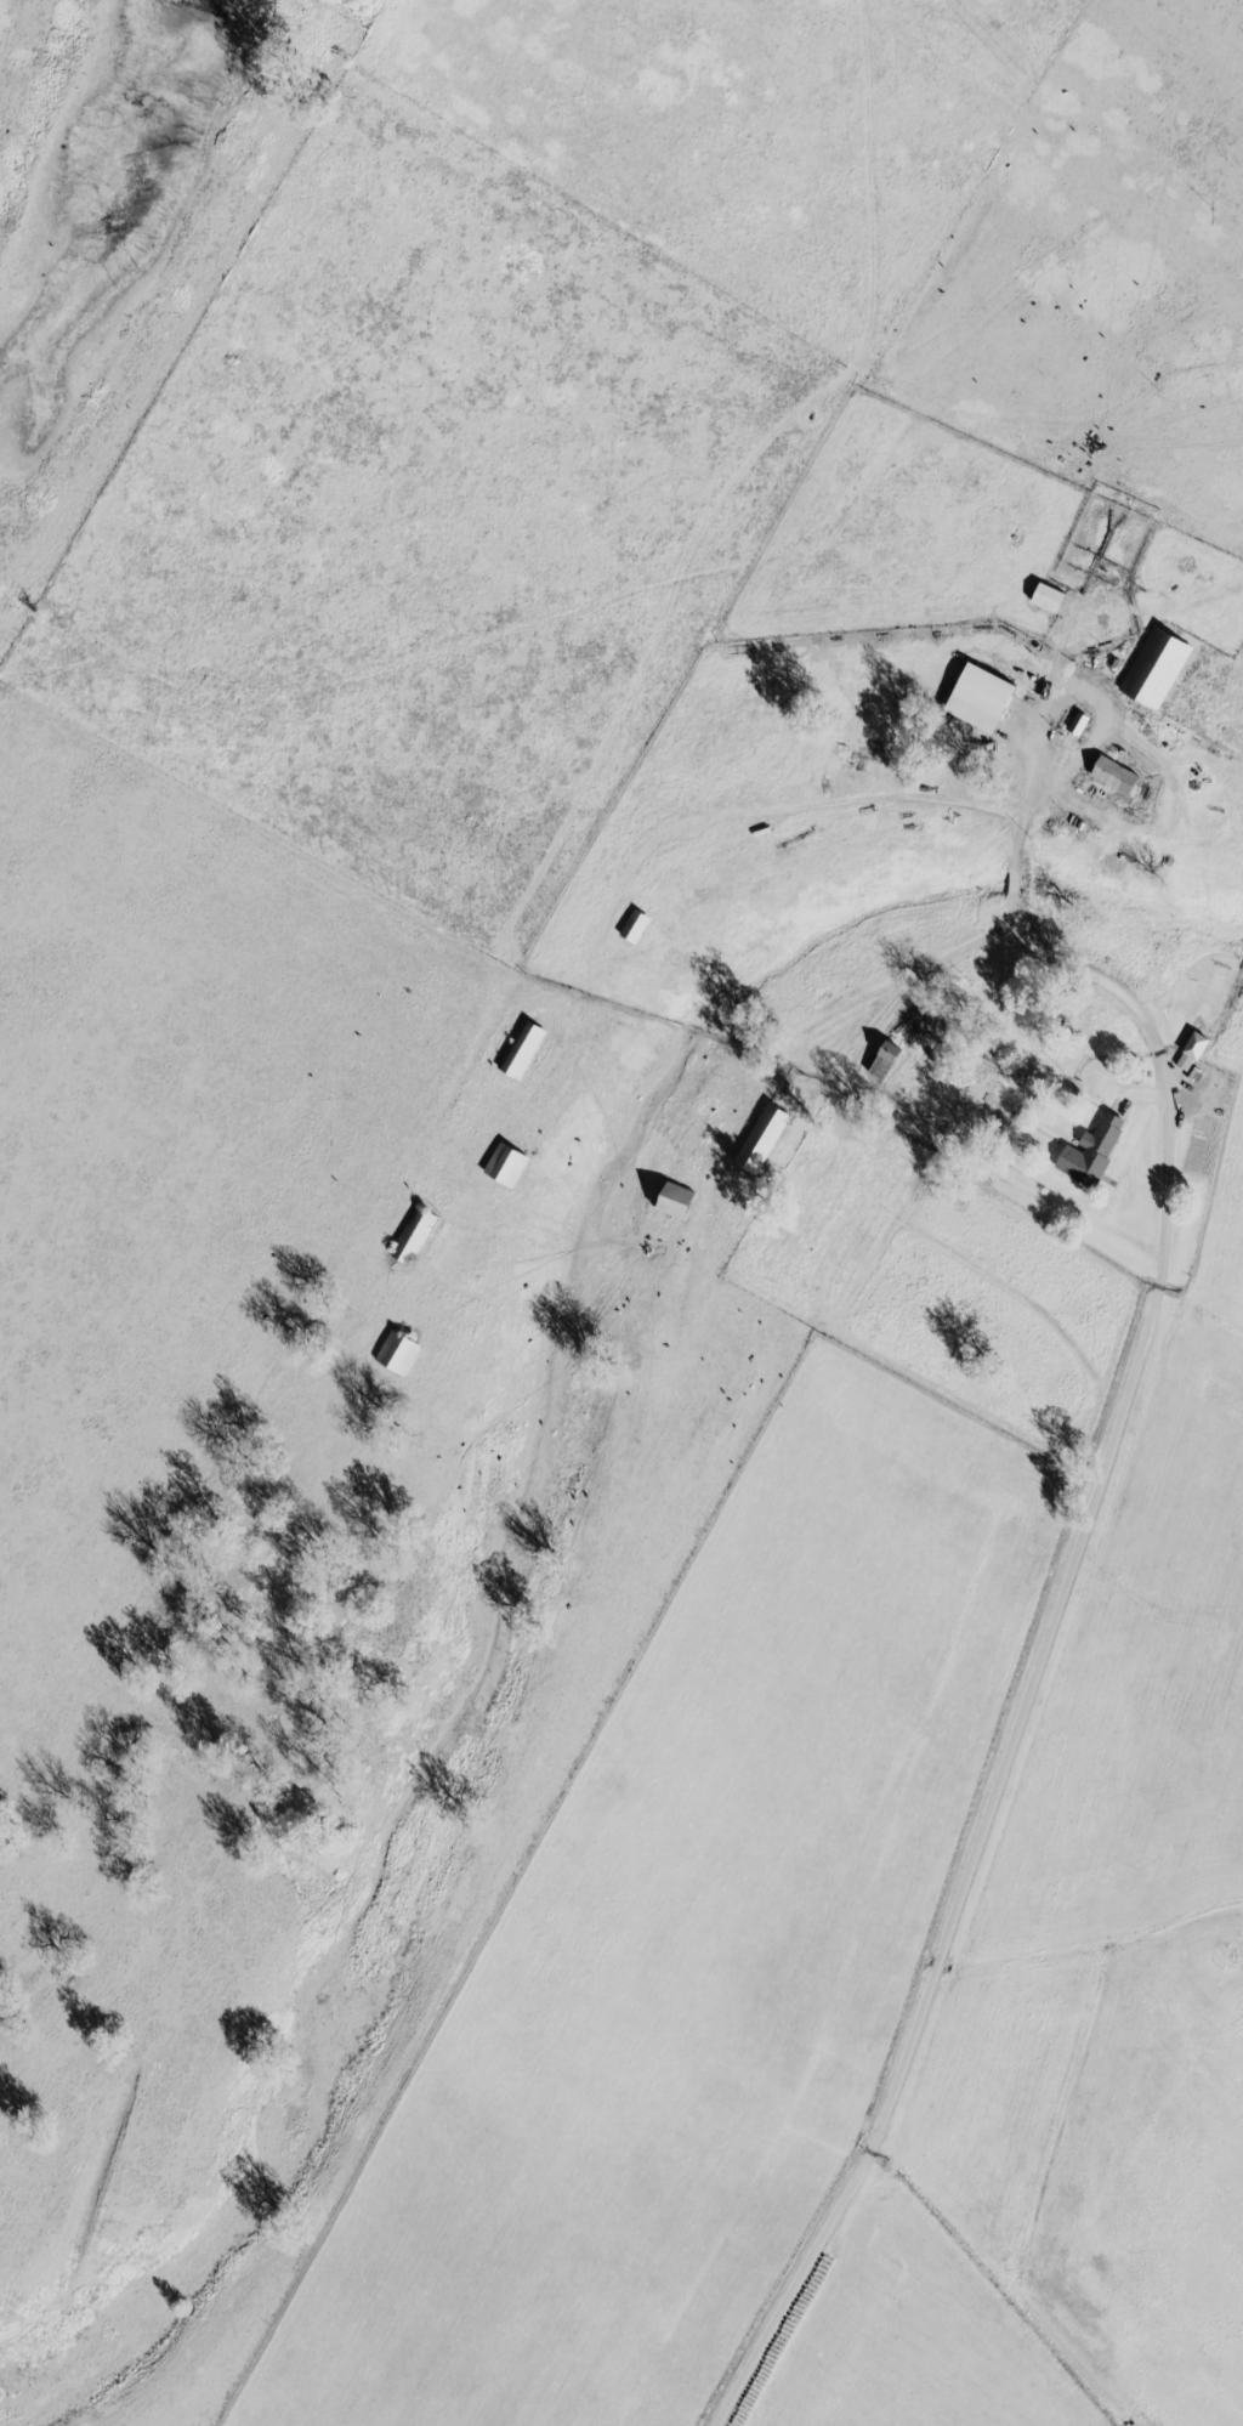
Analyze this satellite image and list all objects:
building: (1045, 597)
building: (1153, 667)
building: (978, 697)
building: (1112, 775)
building: (632, 925)
road: (828, 1013)
building: (520, 1049)
building: (1190, 1052)
building: (760, 1138)
building: (1089, 1151)
building: (503, 1164)
building: (674, 1201)
building: (410, 1235)
building: (395, 1351)
road: (1066, 1591)

